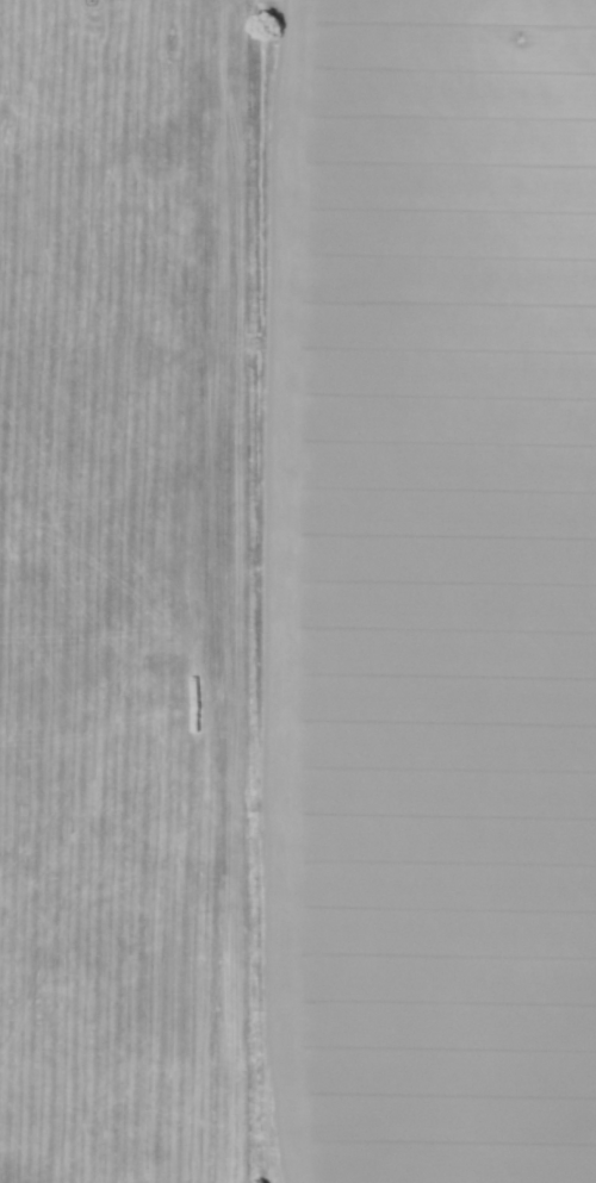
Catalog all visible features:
crop: (417, 592)

